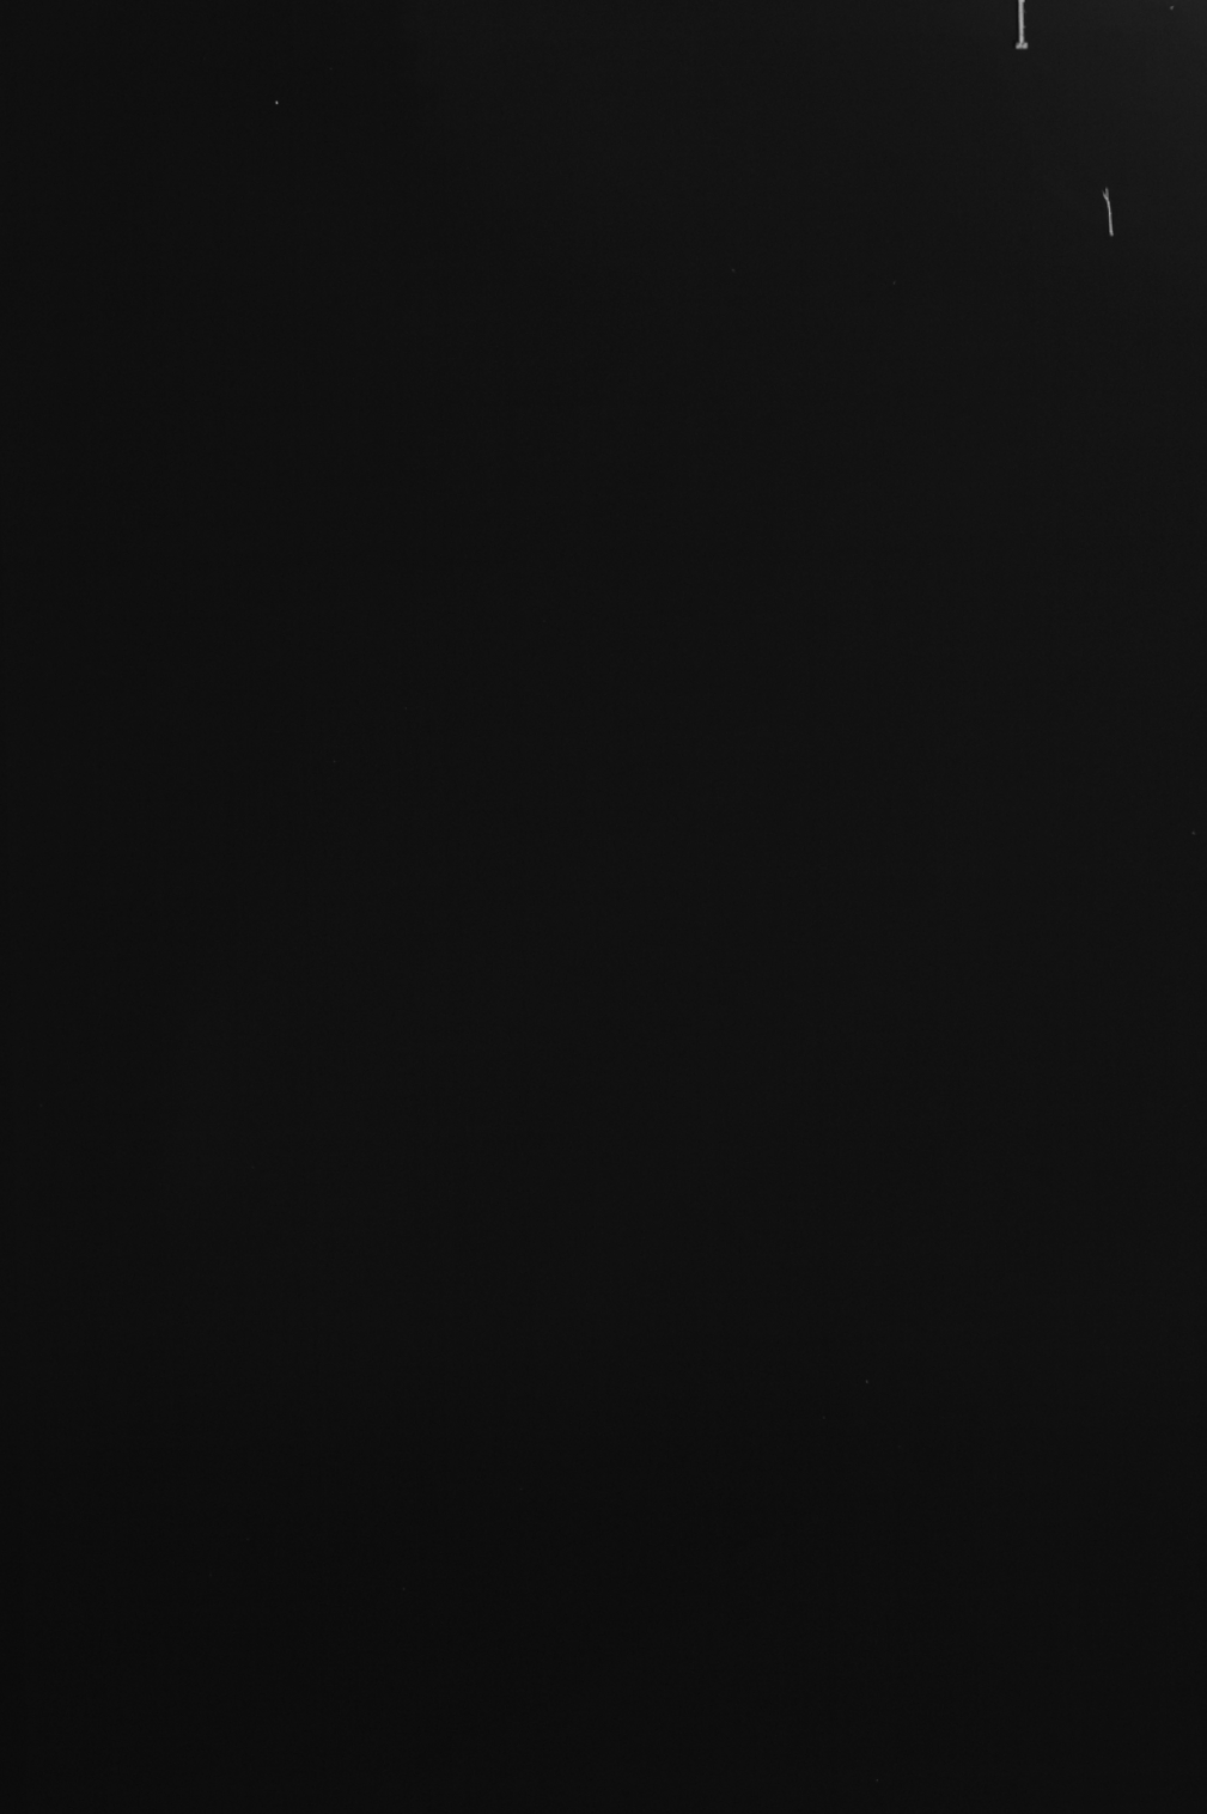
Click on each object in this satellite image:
river: (557, 1454)

